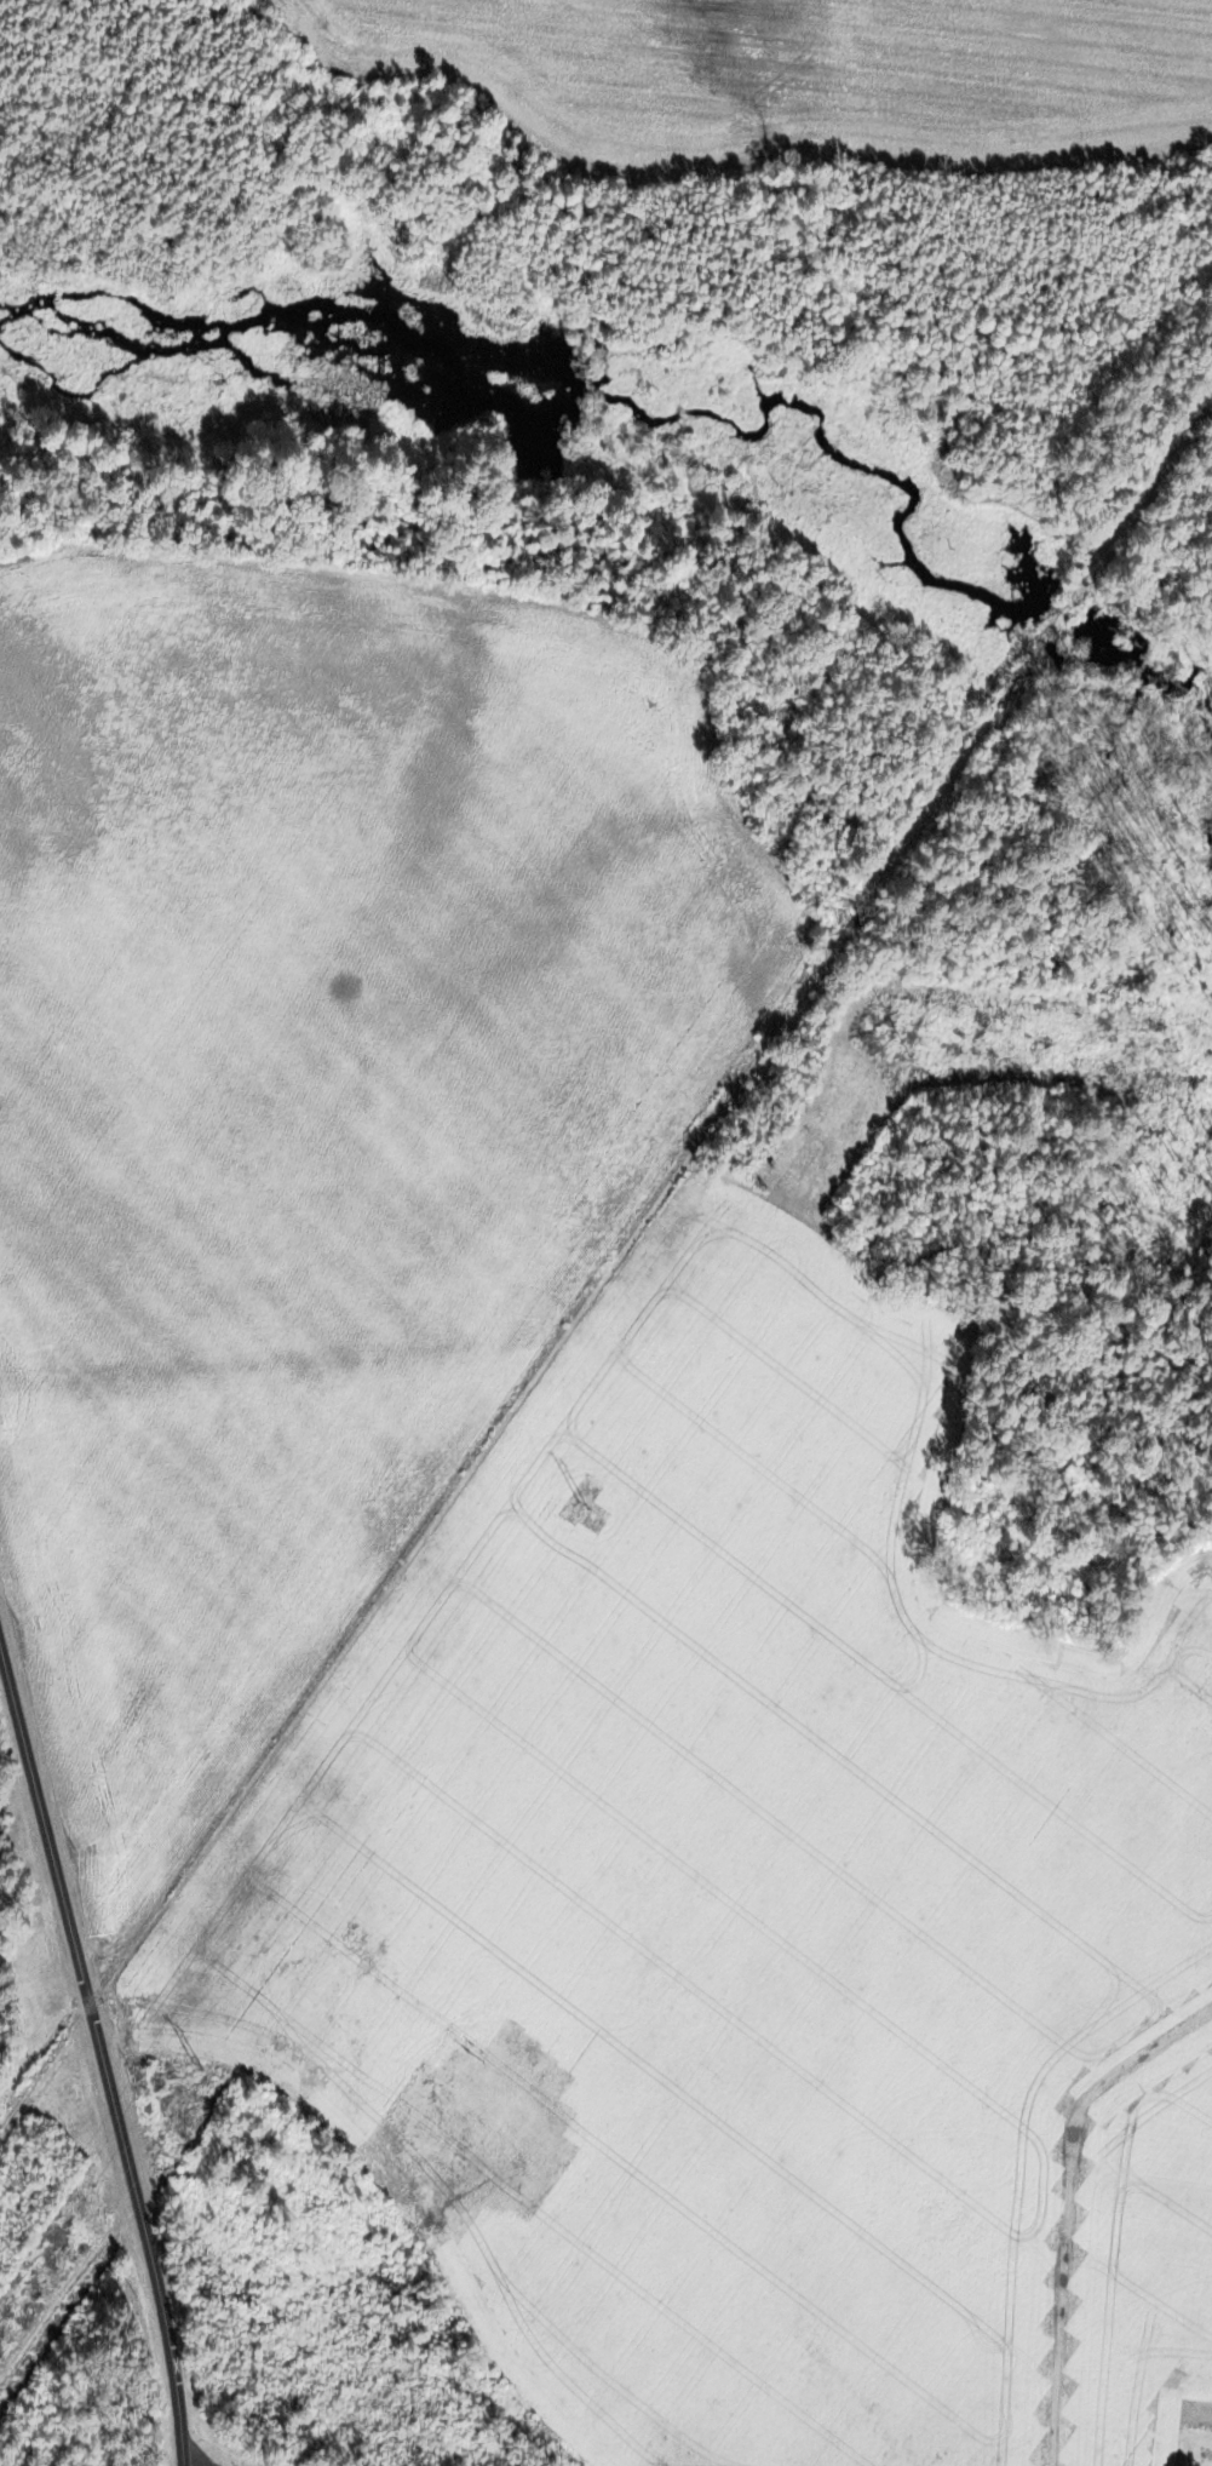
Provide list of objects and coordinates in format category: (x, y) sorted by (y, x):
railway: (1130, 522)
railway: (1044, 643)
power tower: (904, 1040)
railway: (517, 1392)
power tower: (586, 1504)
road: (102, 2059)
power tower: (200, 2059)
road: (1065, 2202)

